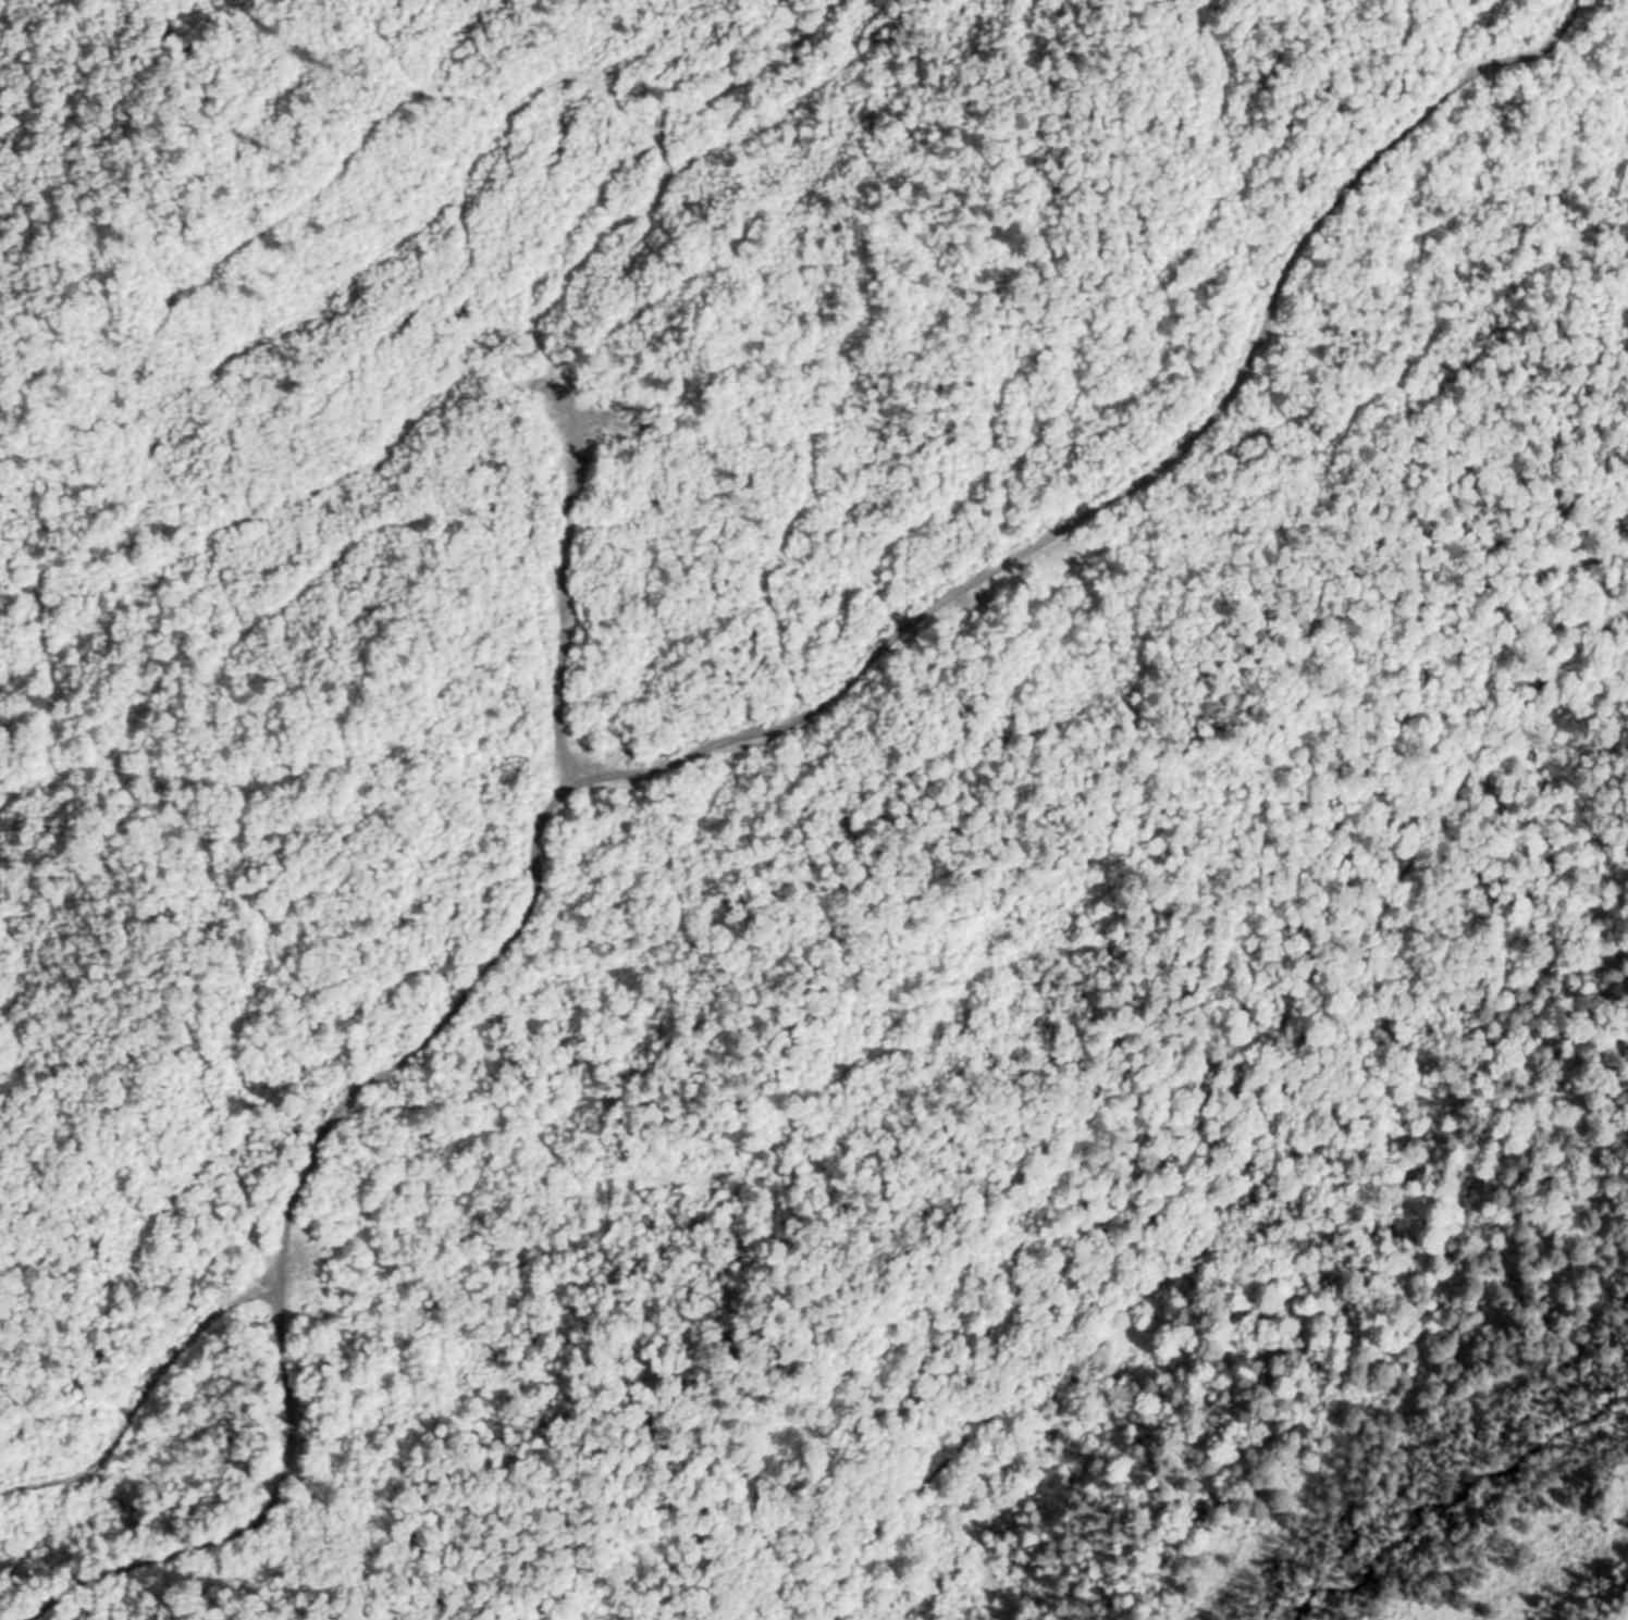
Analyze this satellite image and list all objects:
road: (738, 743)
road: (1239, 1115)
river: (1479, 1514)

